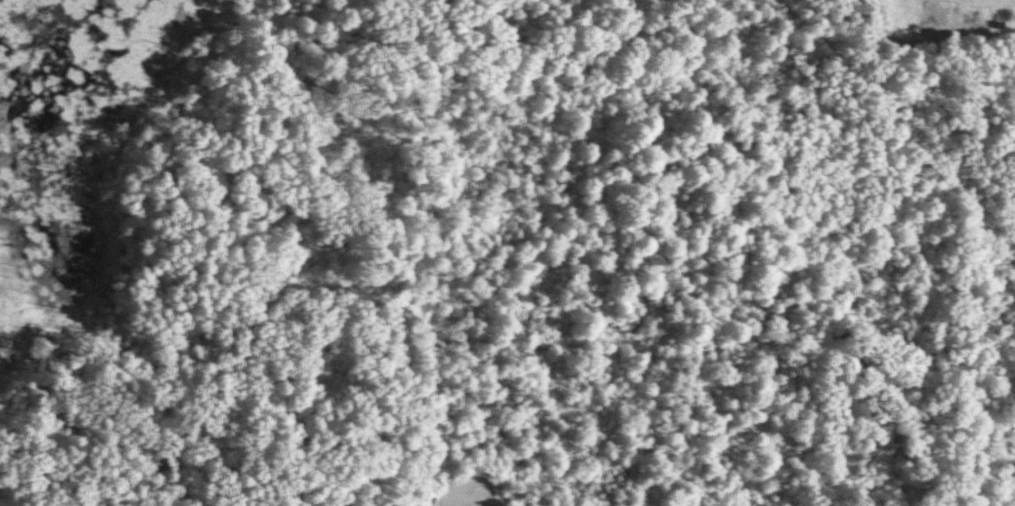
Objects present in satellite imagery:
road: (342, 418)

